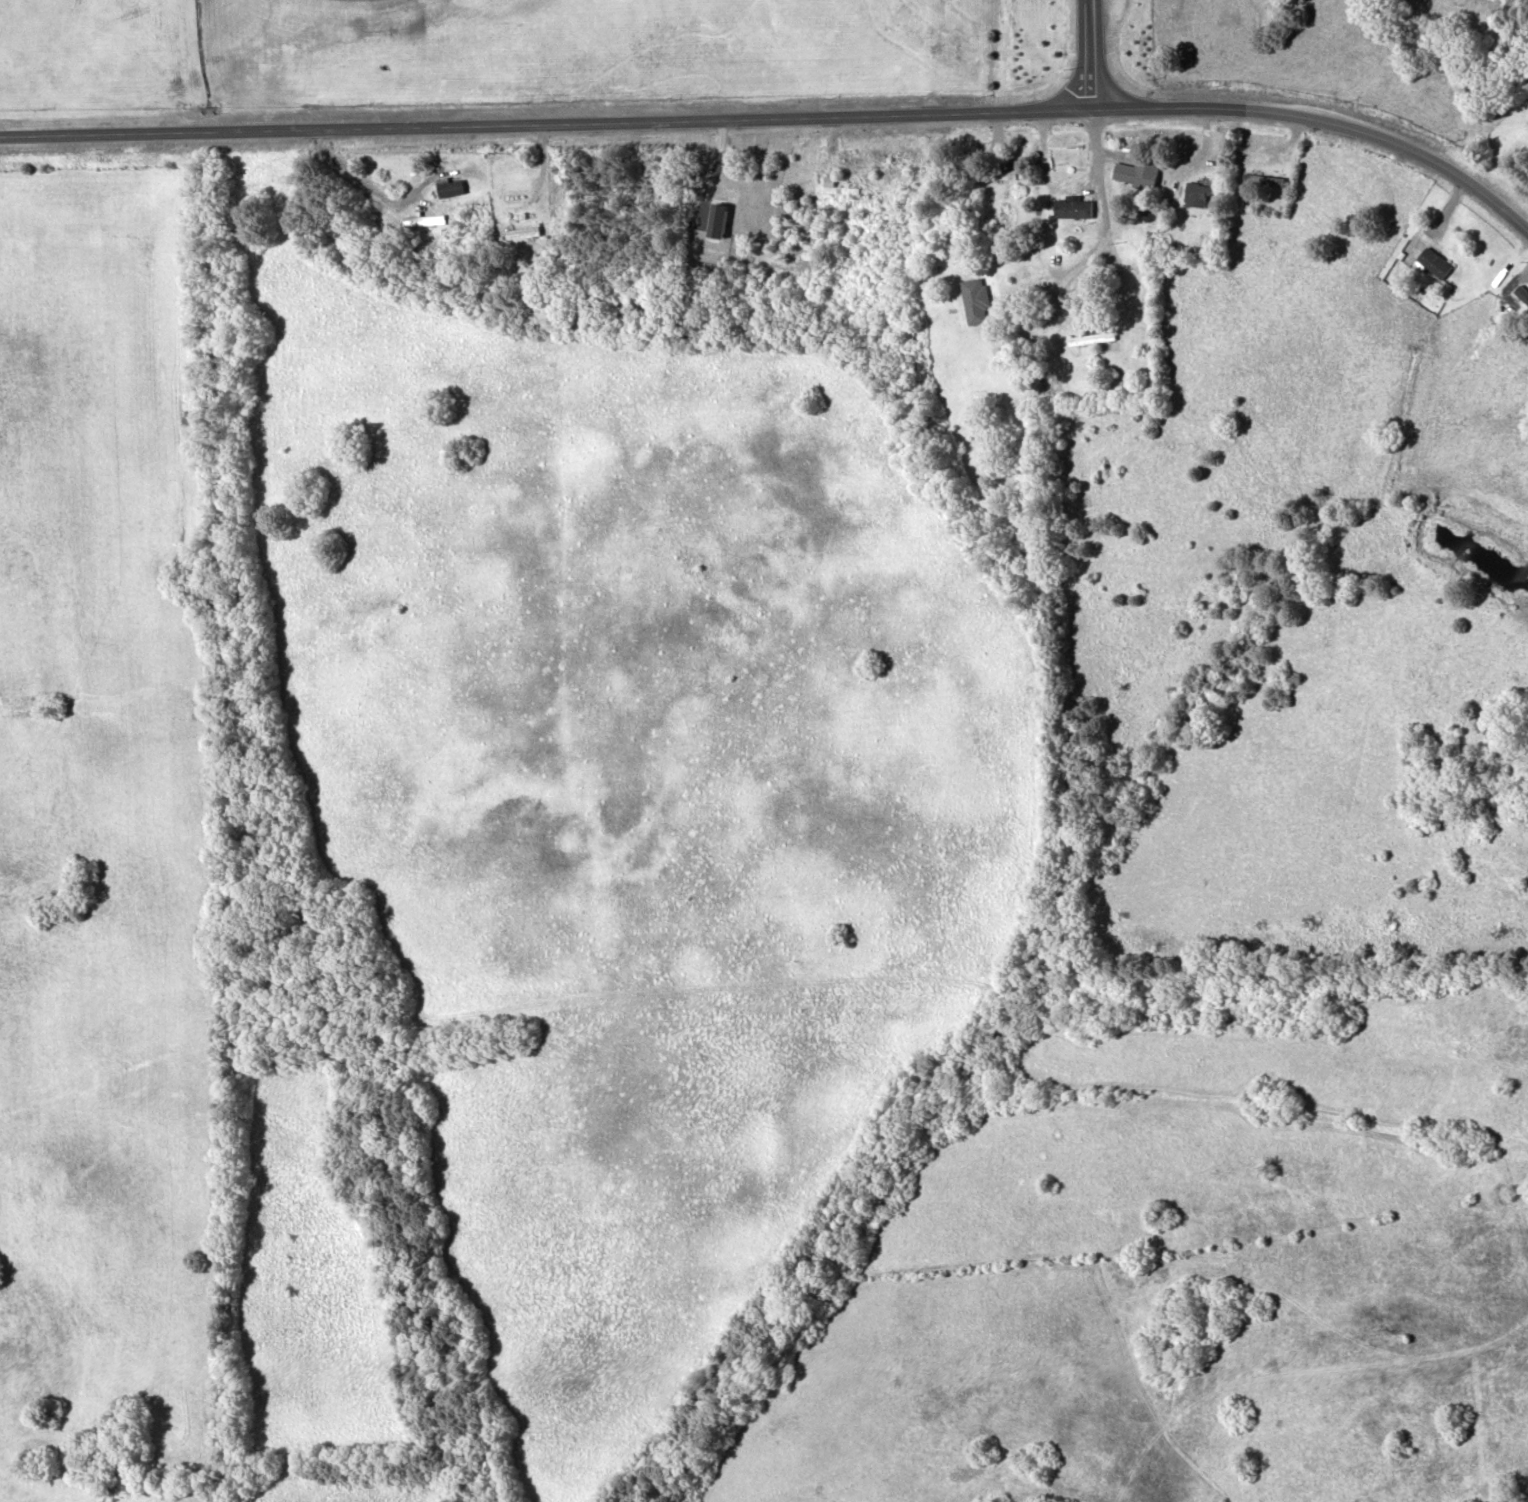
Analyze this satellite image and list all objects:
road: (1092, 56)
road: (780, 119)
building: (1139, 169)
building: (449, 185)
building: (1197, 193)
building: (1073, 207)
road: (1104, 214)
building: (732, 221)
building: (424, 224)
building: (522, 231)
building: (1432, 261)
building: (1090, 336)

